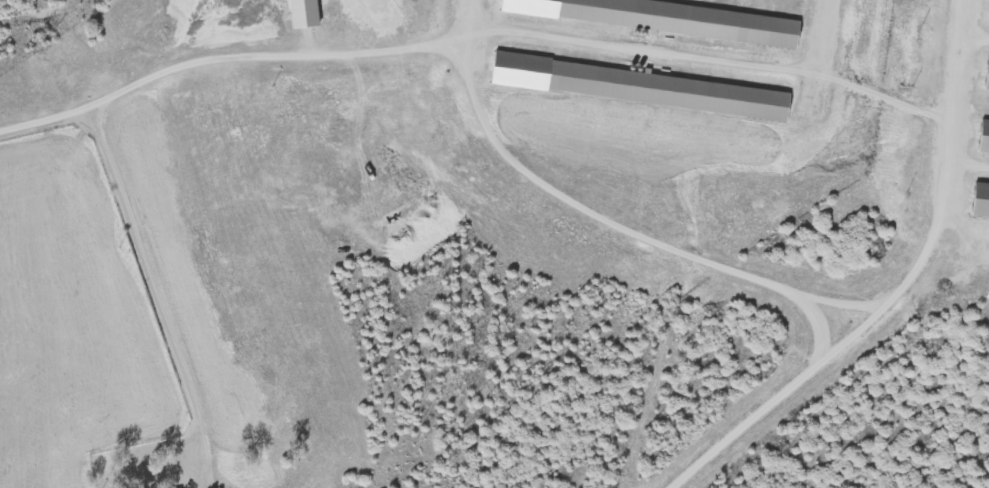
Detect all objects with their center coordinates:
building: (309, 14)
building: (670, 19)
building: (640, 88)
building: (986, 141)
building: (983, 203)

